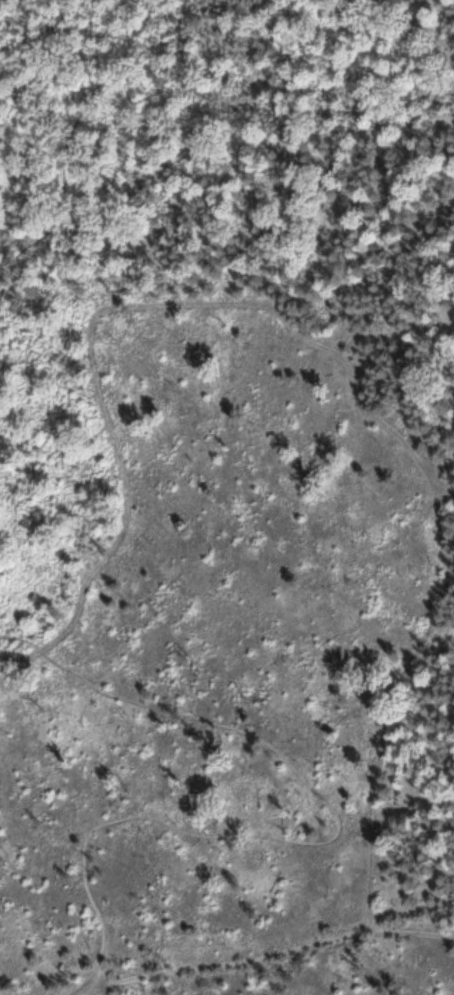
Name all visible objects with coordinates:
road: (66, 142)
road: (331, 840)
road: (267, 958)
road: (1, 993)

